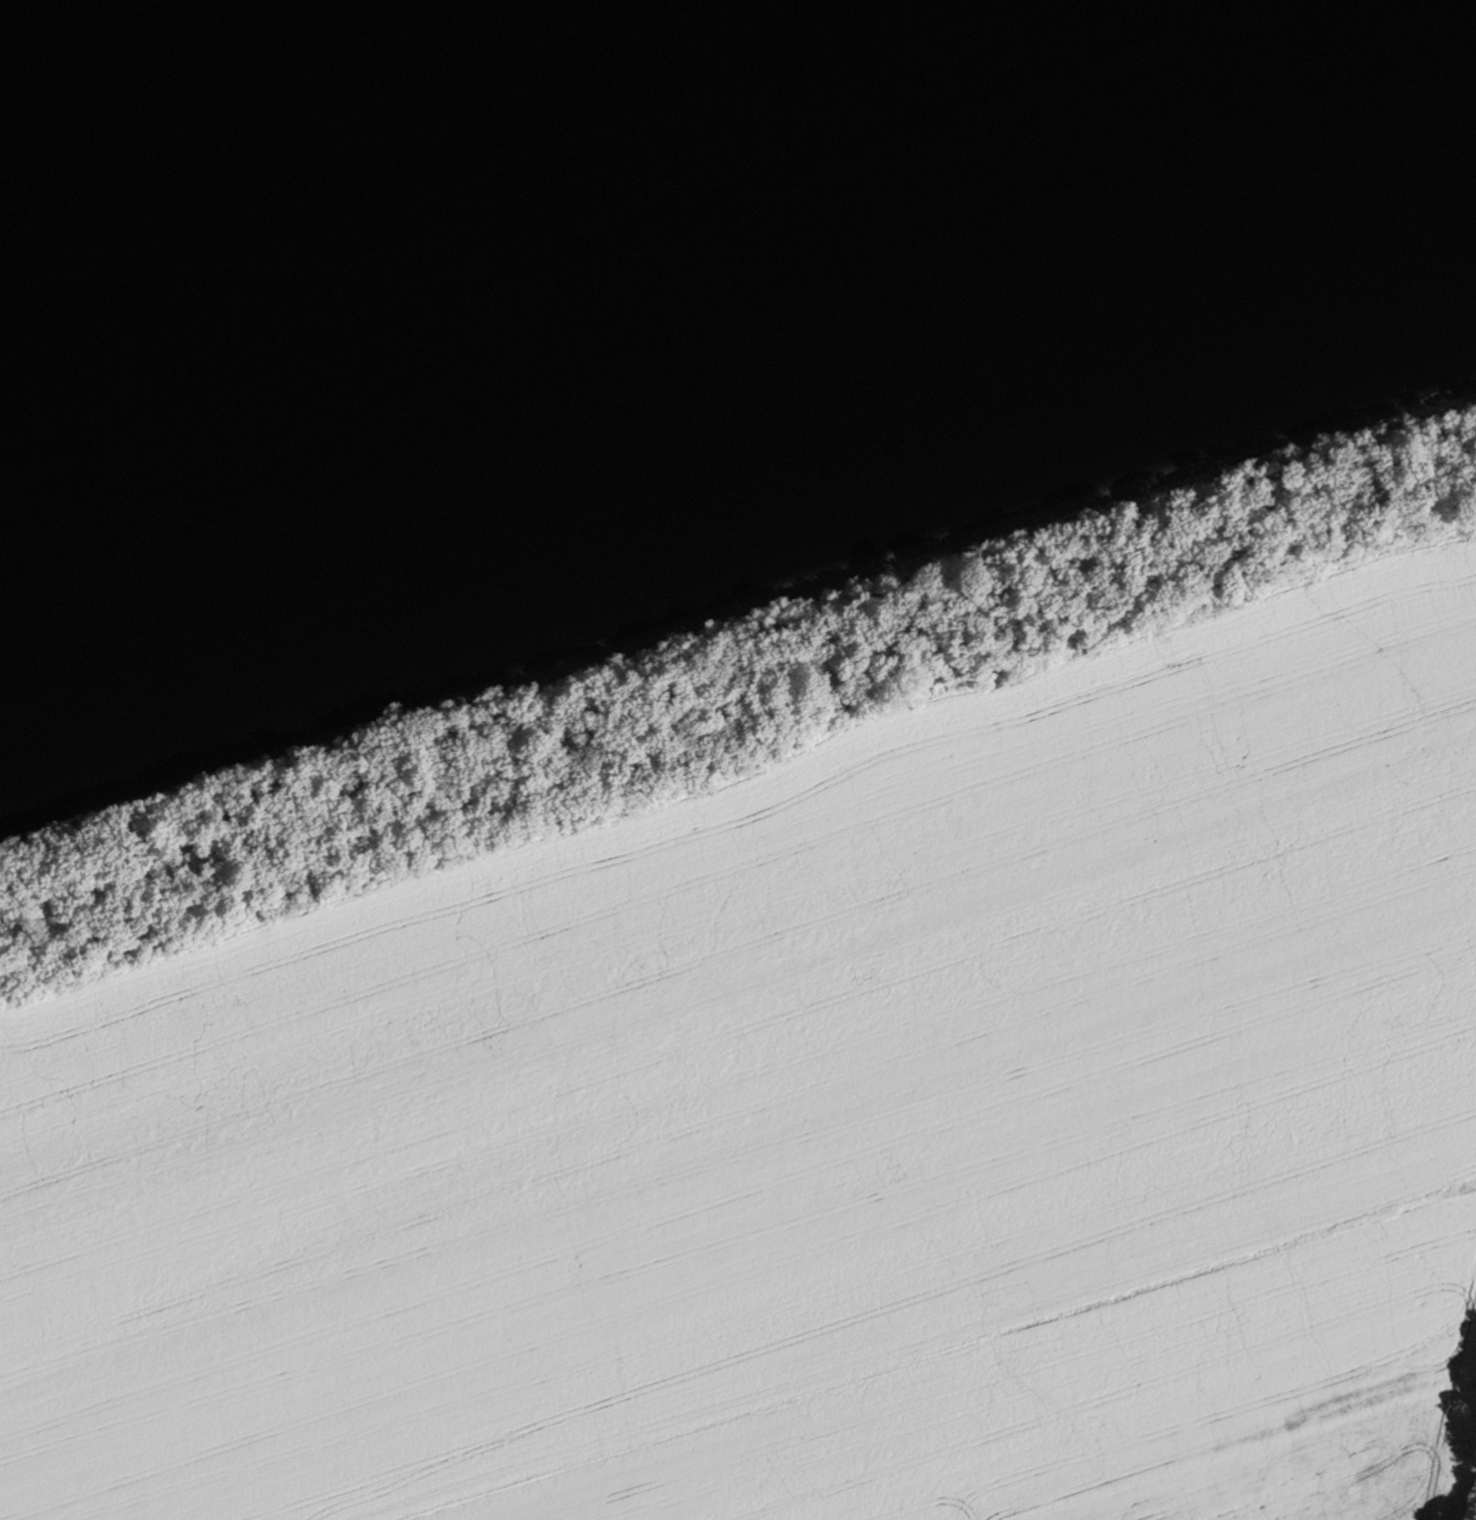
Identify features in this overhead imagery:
building: (446, 258)
building: (219, 284)

